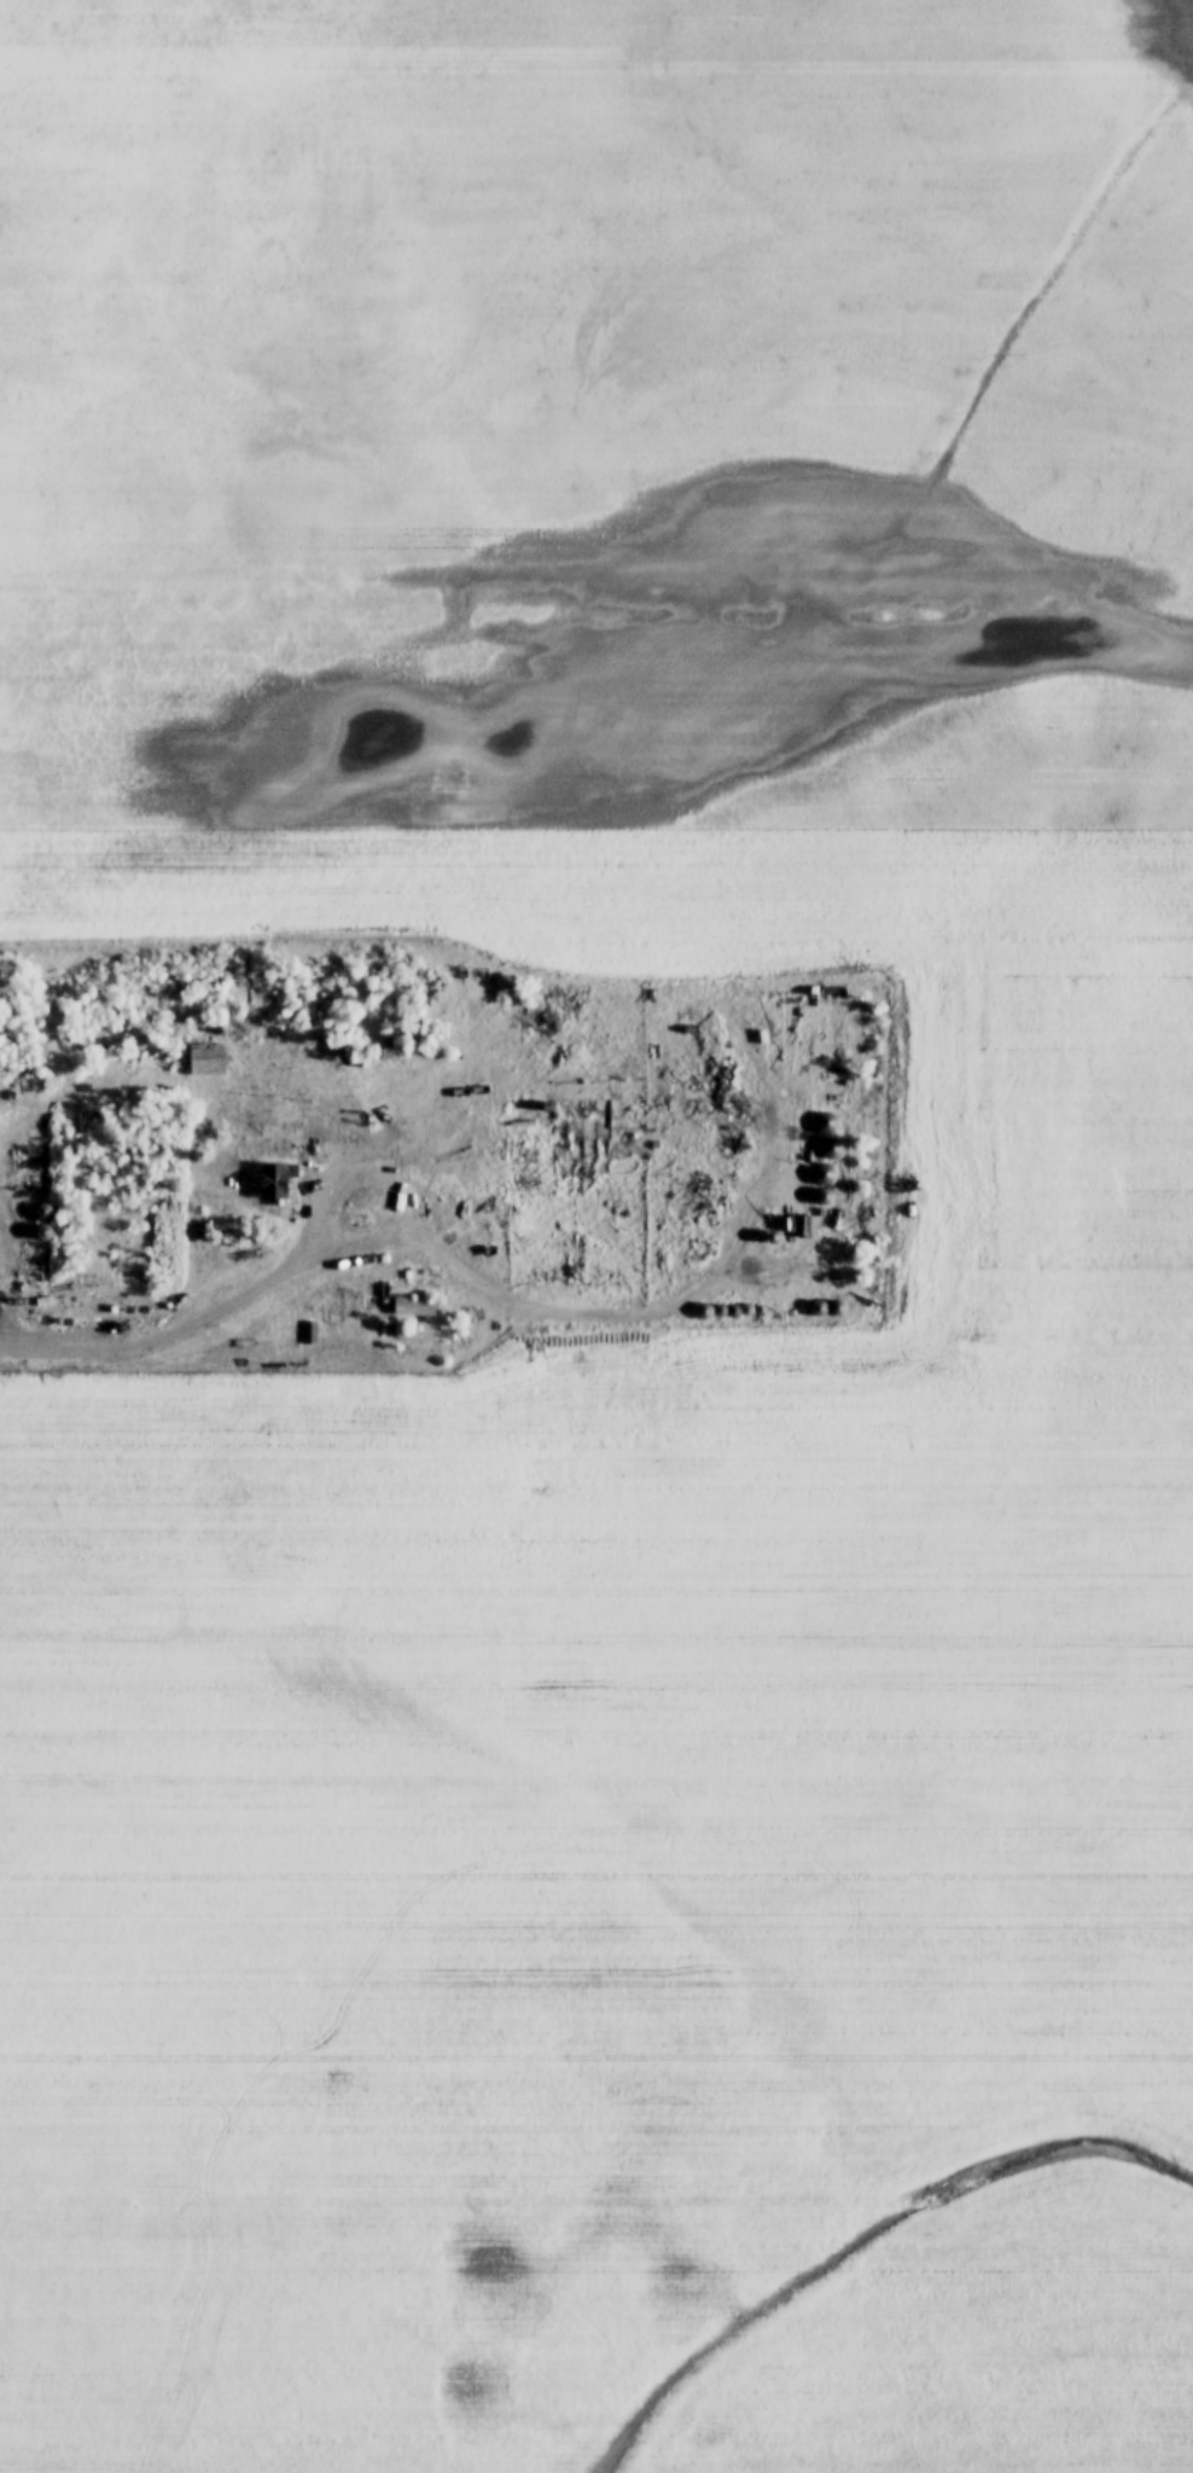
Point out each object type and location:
building: (316, 1043)
building: (361, 1057)
building: (206, 1058)
building: (826, 1122)
building: (832, 1146)
building: (531, 1163)
road: (402, 1172)
building: (824, 1175)
building: (279, 1182)
building: (43, 1212)
building: (45, 1232)
building: (199, 1233)
building: (414, 1306)
building: (334, 1307)
road: (150, 1343)

